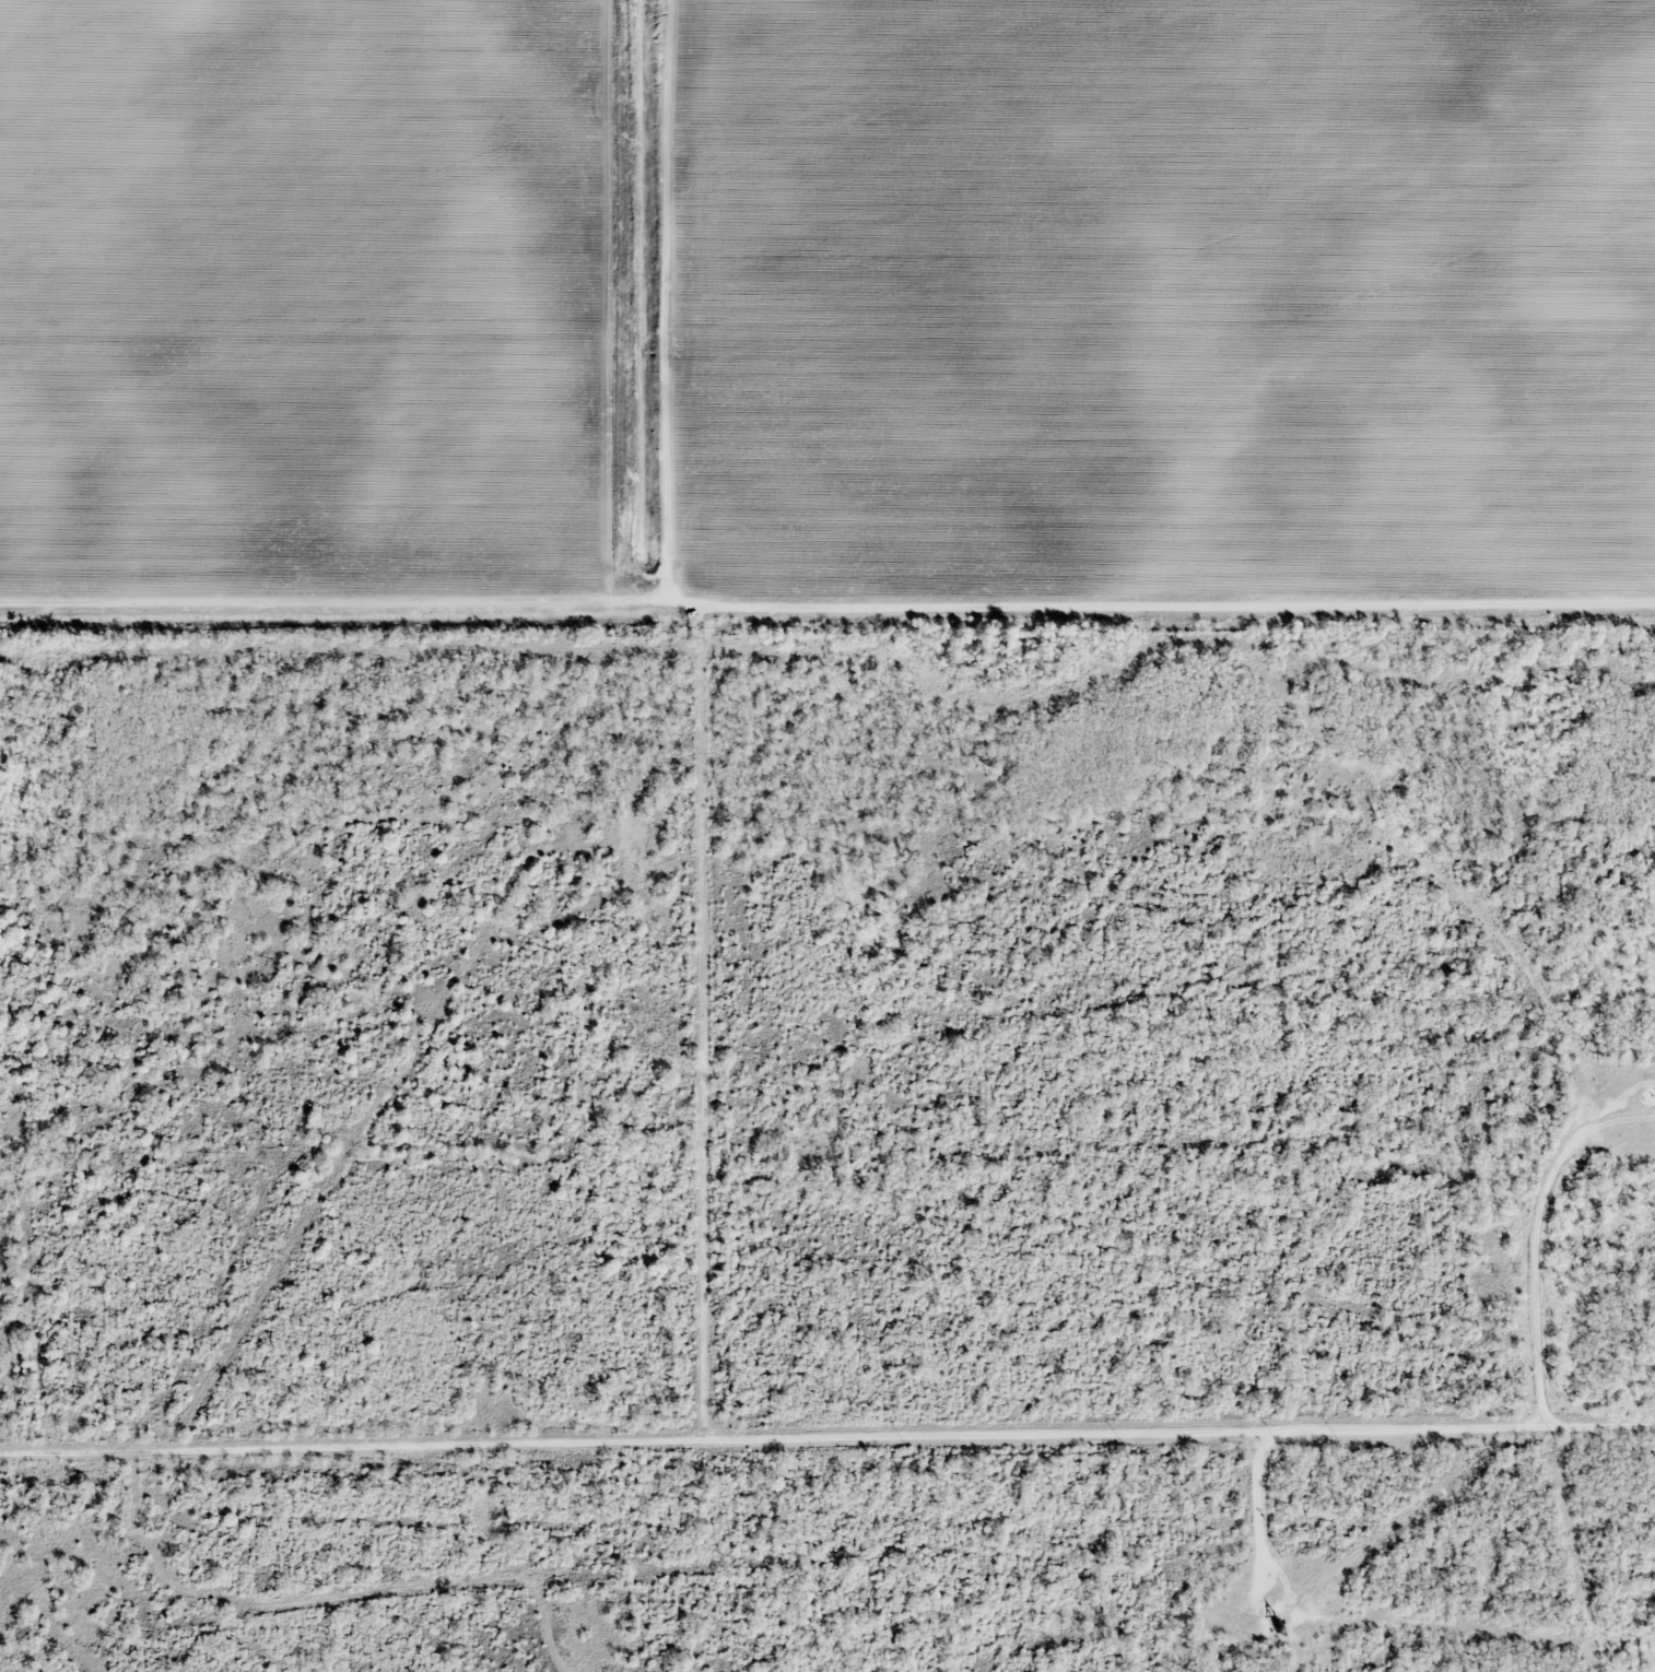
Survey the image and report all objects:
road: (827, 620)
road: (693, 1038)
road: (826, 1452)

